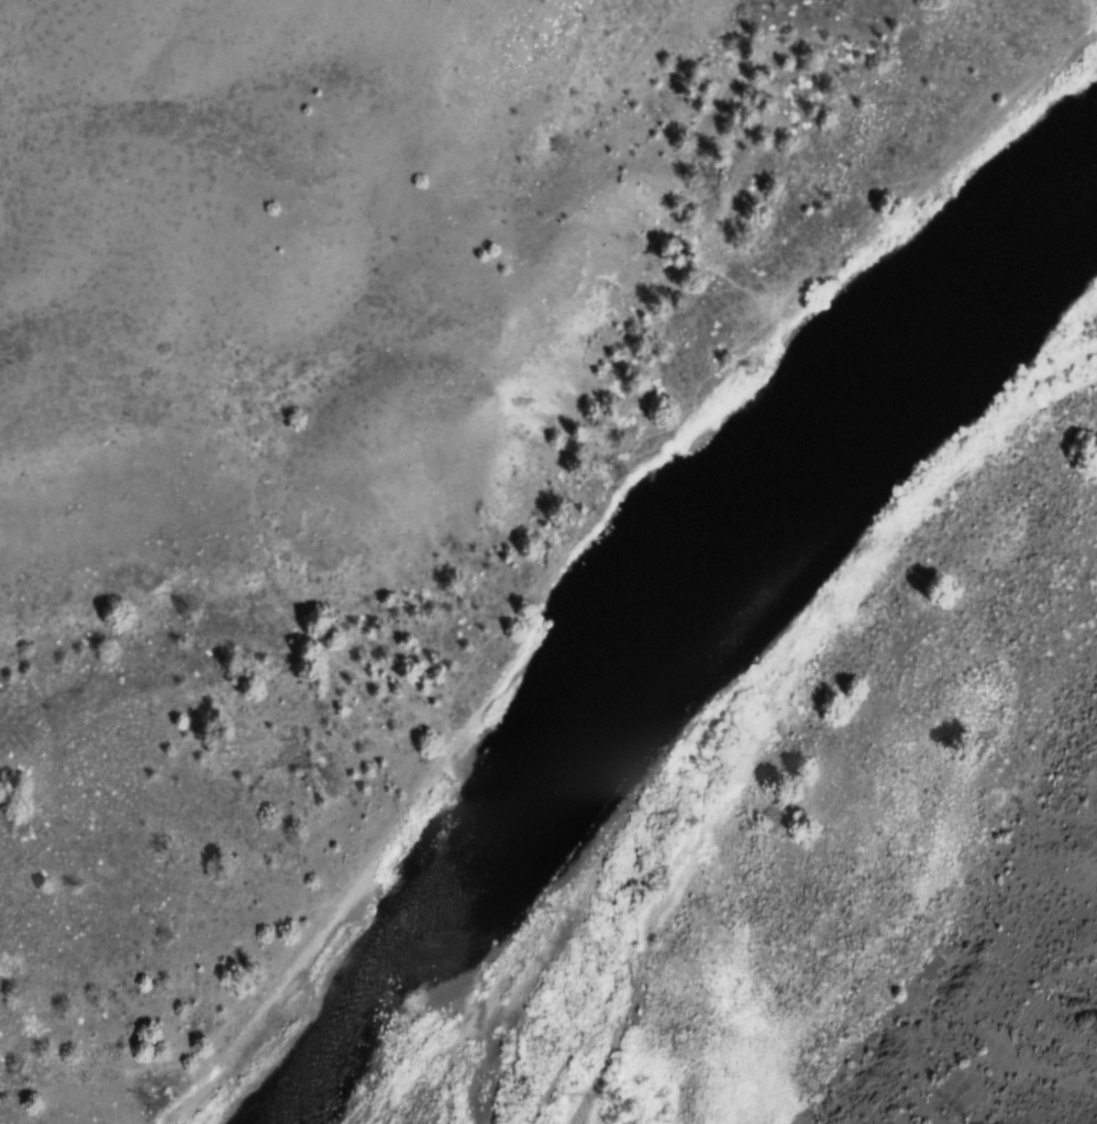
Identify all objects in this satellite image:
river: (683, 636)

